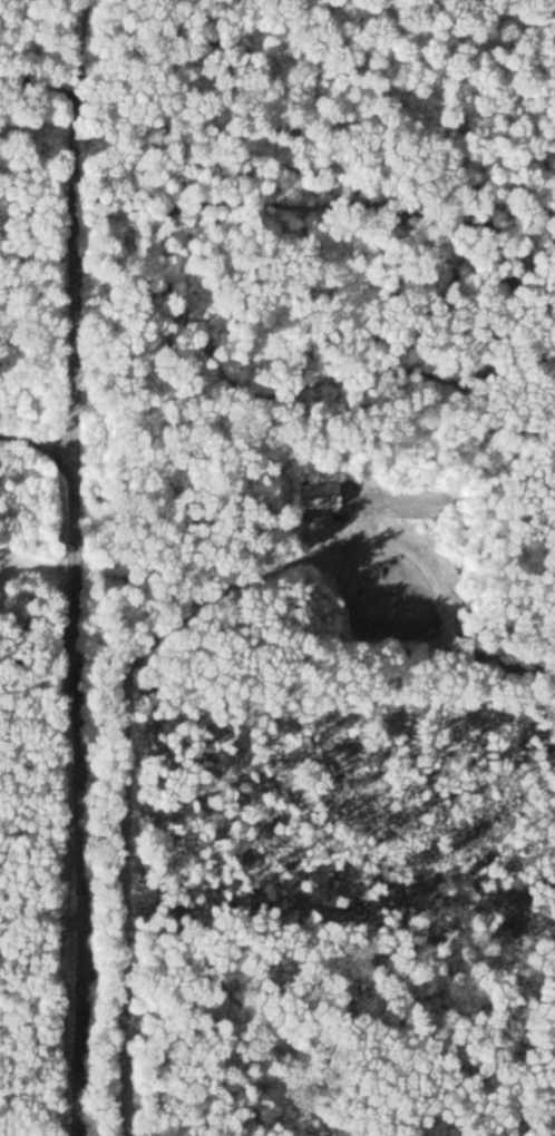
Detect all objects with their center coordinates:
building: (318, 494)
road: (87, 568)

